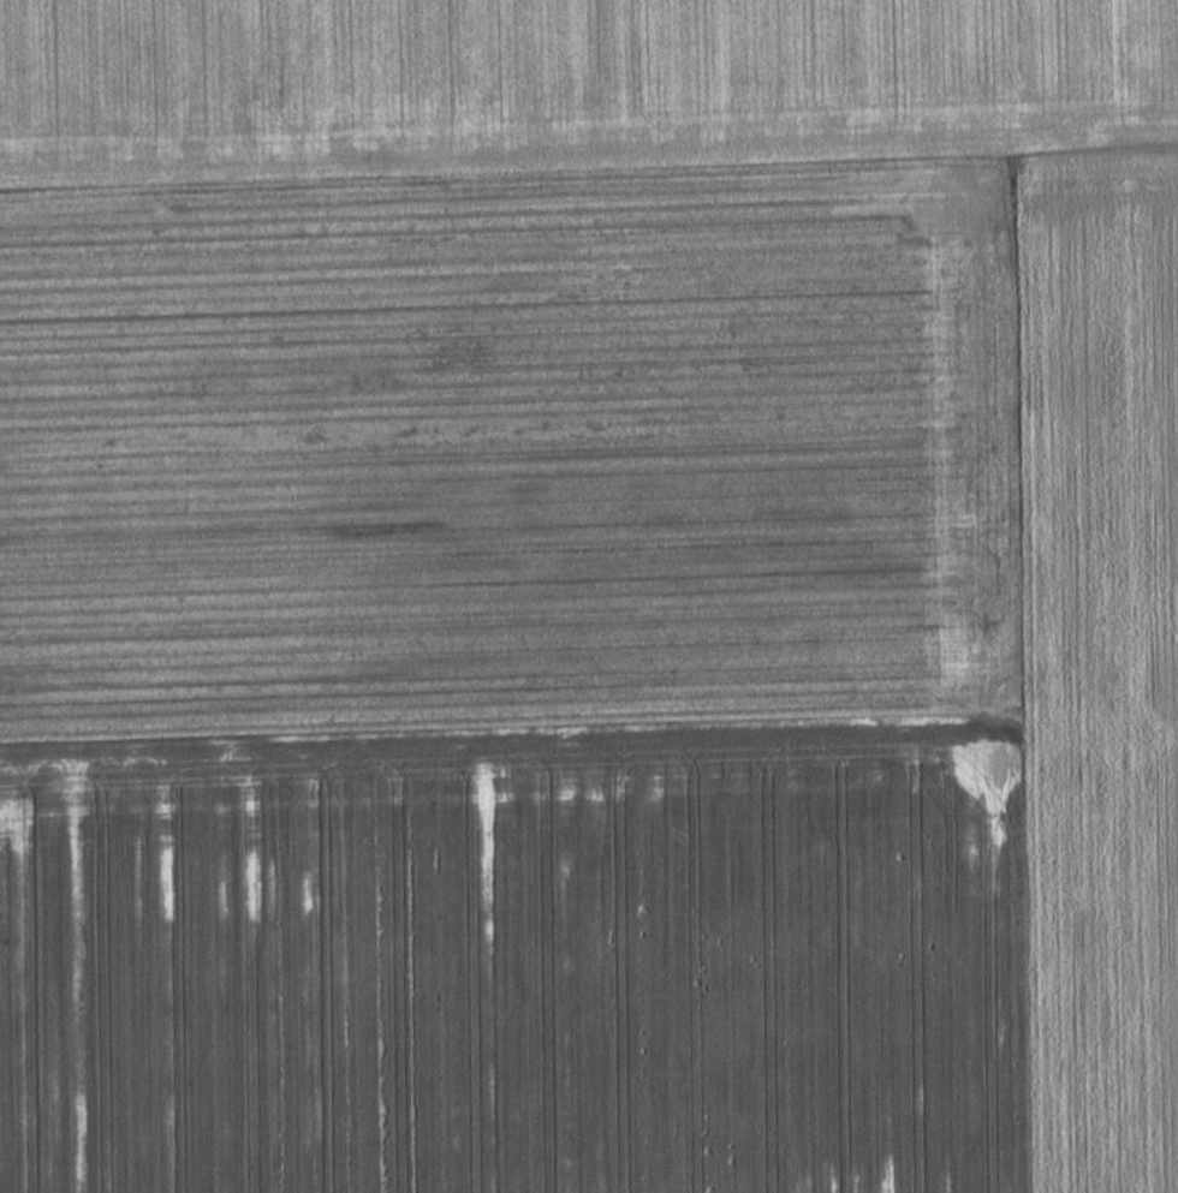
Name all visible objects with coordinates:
crop: (545, 73)
crop: (595, 672)

